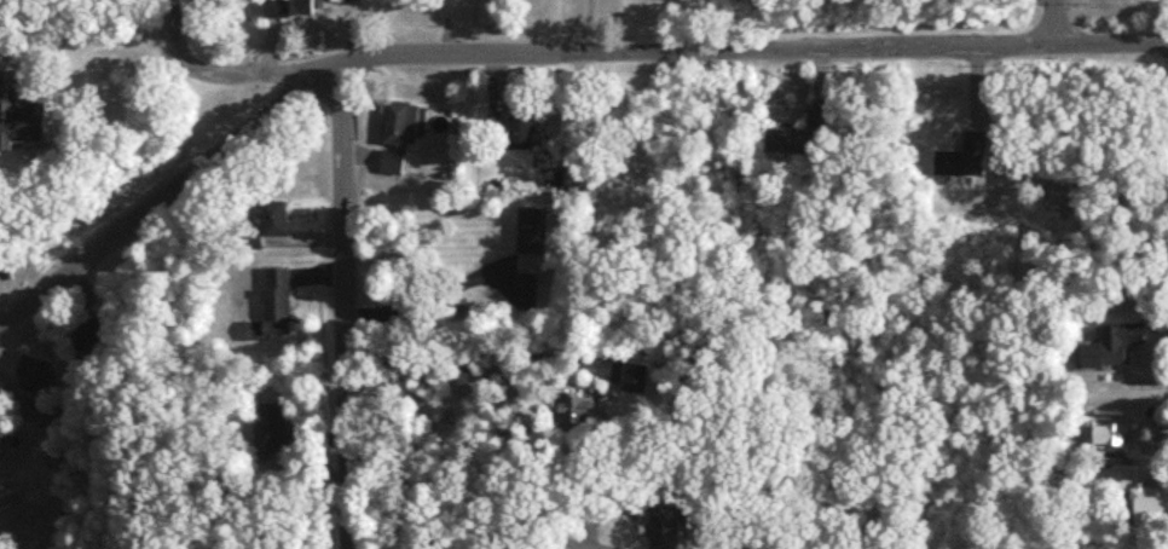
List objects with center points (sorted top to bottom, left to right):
building: (303, 7)
road: (1056, 22)
road: (590, 25)
road: (86, 45)
road: (536, 52)
road: (210, 71)
building: (23, 123)
building: (403, 125)
building: (524, 133)
building: (804, 139)
building: (968, 160)
building: (395, 164)
building: (595, 179)
building: (279, 221)
building: (537, 233)
road: (420, 301)
building: (281, 304)
road: (336, 311)
building: (1106, 346)
building: (35, 376)
building: (585, 410)
building: (273, 418)
building: (11, 495)
road: (17, 528)
building: (666, 528)
road: (372, 544)
road: (503, 544)

